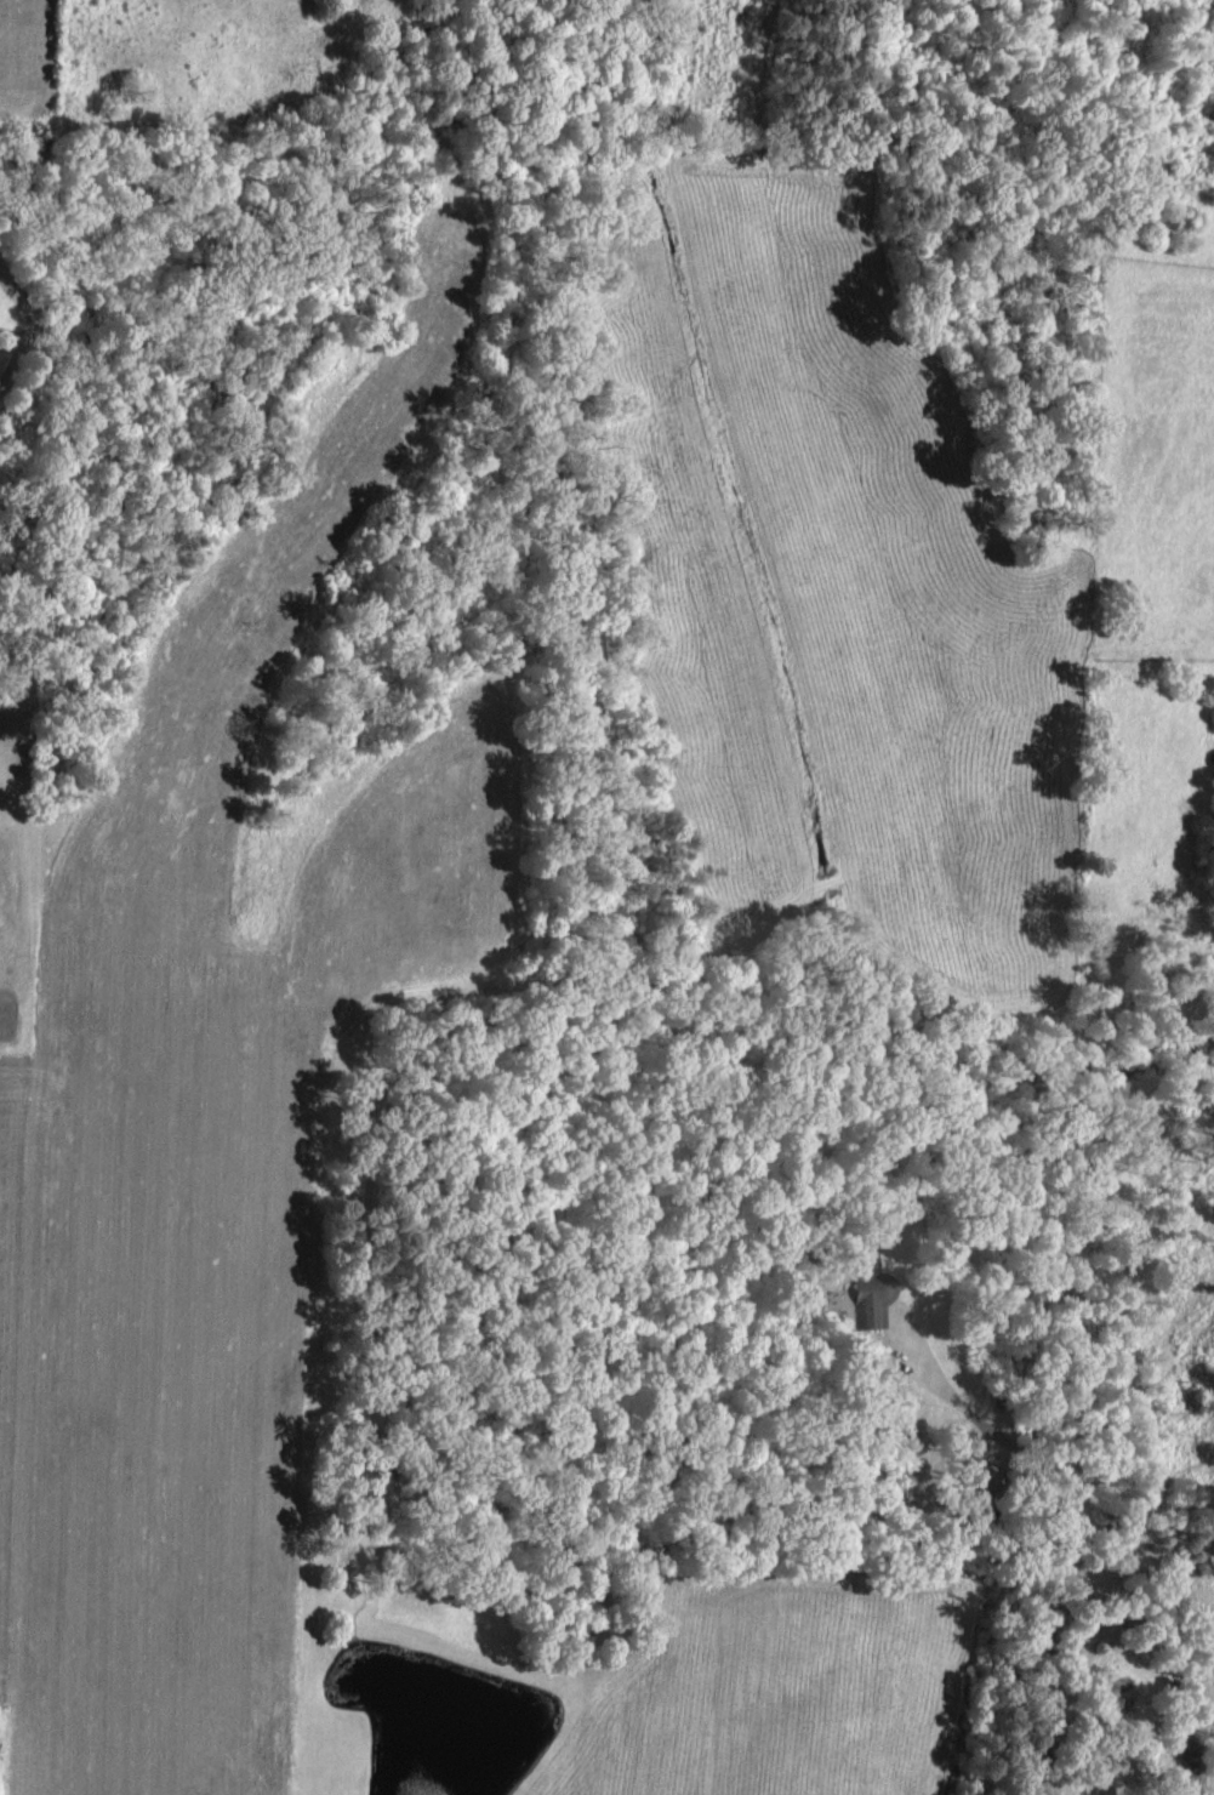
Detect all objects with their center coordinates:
building: (870, 1297)
building: (969, 1472)

